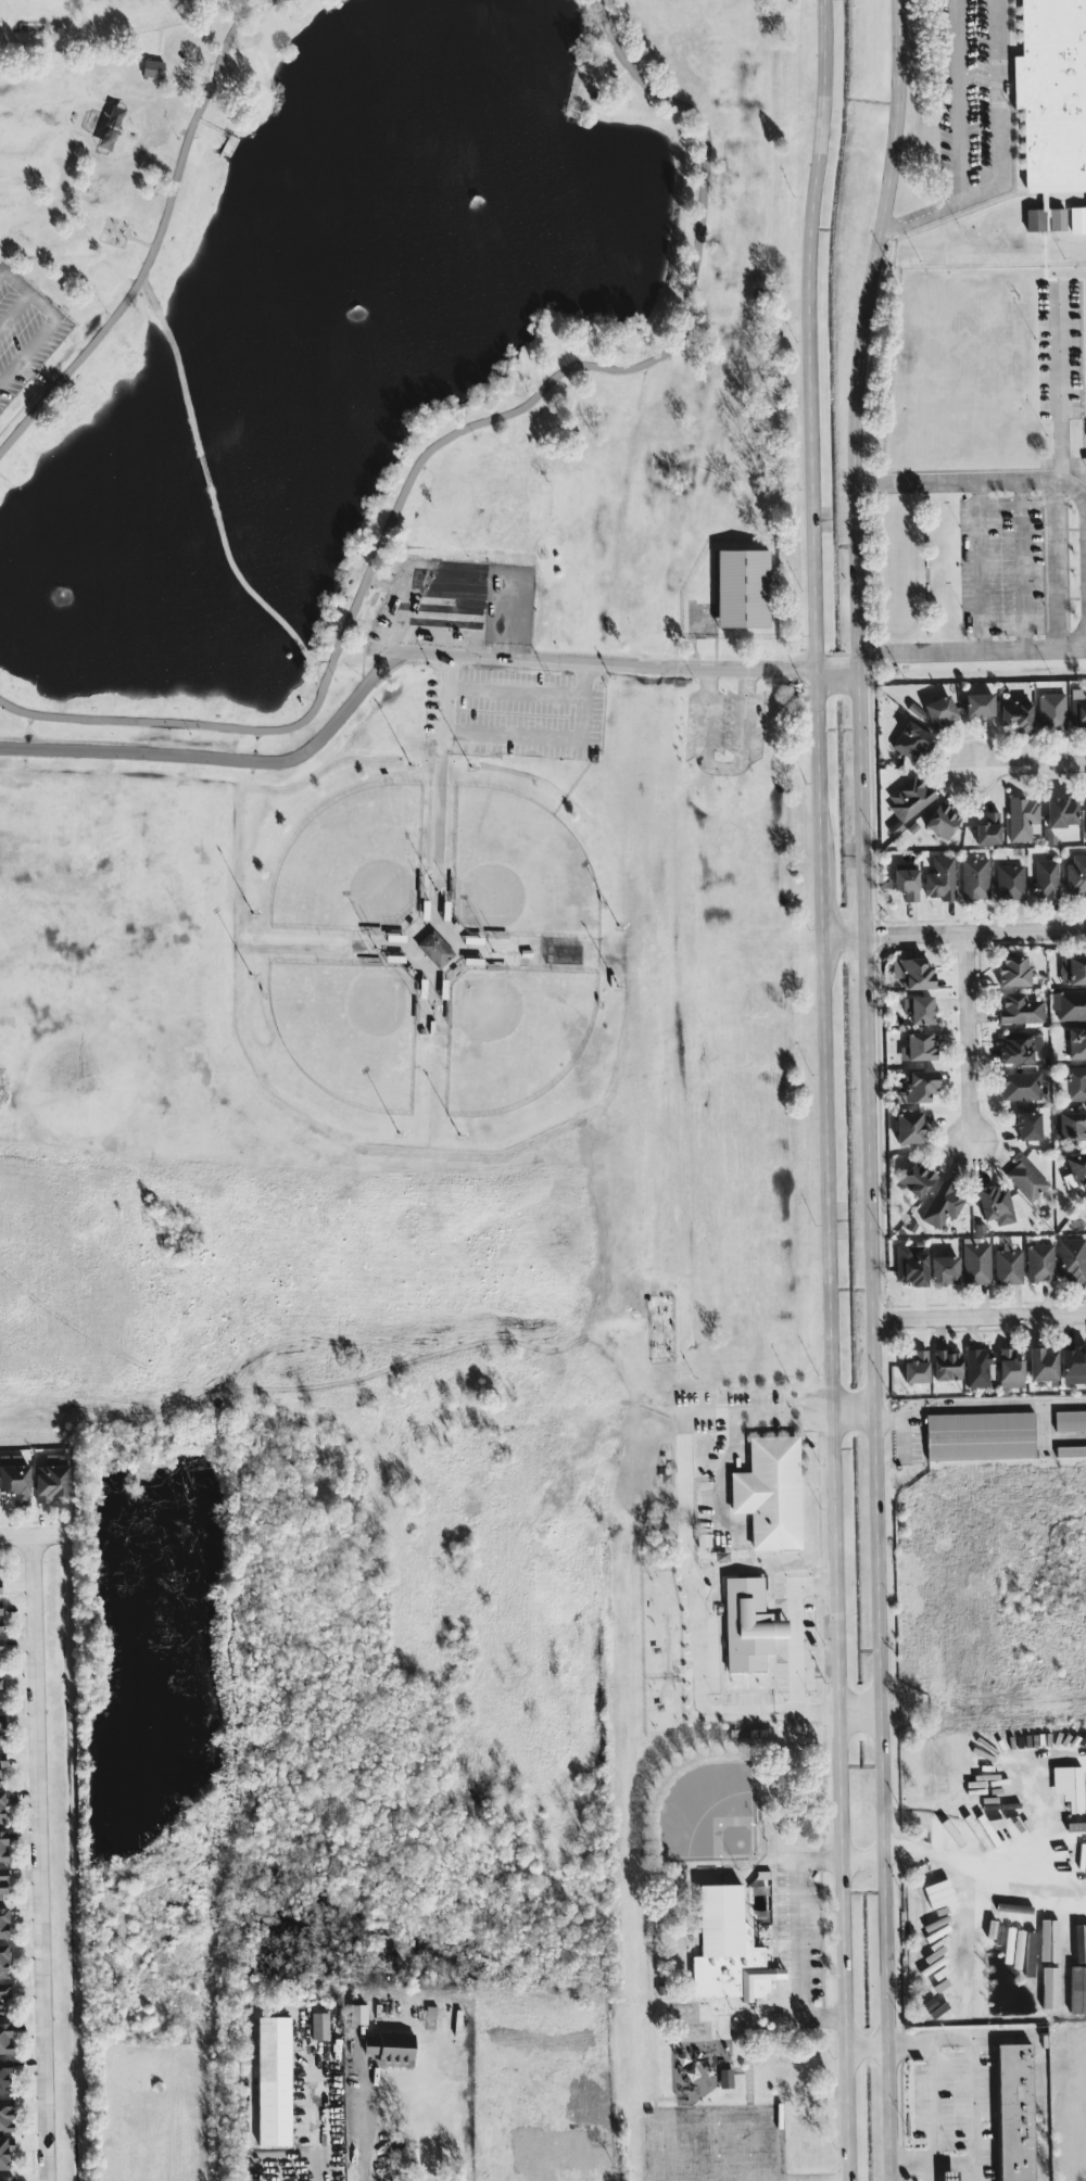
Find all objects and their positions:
road: (249, 4)
road: (207, 16)
road: (173, 50)
building: (152, 67)
road: (169, 72)
road: (190, 77)
building: (1052, 91)
road: (958, 100)
road: (210, 126)
road: (1001, 154)
building: (1057, 218)
building: (1035, 219)
road: (156, 233)
road: (139, 240)
road: (13, 279)
road: (149, 294)
road: (14, 309)
parking lot: (24, 331)
road: (40, 337)
parking lot: (1058, 347)
road: (1057, 378)
road: (42, 380)
road: (455, 431)
building: (1085, 460)
road: (1040, 479)
road: (915, 483)
road: (211, 499)
road: (1053, 563)
parking lot: (1011, 565)
road: (1020, 565)
road: (981, 566)
road: (468, 582)
road: (389, 586)
building: (743, 587)
road: (404, 616)
road: (439, 619)
road: (476, 620)
road: (513, 621)
road: (971, 651)
road: (602, 663)
road: (315, 673)
road: (835, 674)
road: (514, 690)
building: (978, 703)
building: (1077, 709)
building: (1051, 710)
building: (940, 711)
building: (1016, 714)
park: (395, 720)
road: (443, 720)
road: (548, 735)
building: (911, 740)
road: (218, 758)
road: (1031, 763)
road: (720, 765)
building: (909, 798)
building: (1061, 811)
building: (1022, 817)
building: (942, 821)
building: (988, 828)
park: (353, 862)
park: (518, 868)
building: (1076, 876)
building: (975, 877)
building: (940, 878)
building: (1046, 878)
building: (1010, 882)
building: (907, 883)
road: (954, 931)
building: (435, 948)
building: (1072, 969)
building: (1013, 971)
building: (912, 973)
building: (1069, 1004)
building: (919, 1009)
building: (1020, 1009)
park: (349, 1029)
park: (513, 1032)
road: (967, 1035)
building: (1077, 1042)
building: (1020, 1045)
building: (918, 1047)
building: (1075, 1082)
building: (920, 1085)
building: (1020, 1086)
road: (867, 1089)
road: (824, 1090)
building: (1030, 1125)
building: (1070, 1125)
building: (909, 1127)
building: (1075, 1169)
building: (1026, 1178)
building: (917, 1179)
building: (996, 1203)
building: (943, 1204)
building: (1072, 1259)
building: (976, 1261)
building: (1040, 1261)
building: (1008, 1265)
building: (911, 1266)
building: (945, 1269)
road: (978, 1315)
road: (372, 1340)
building: (1043, 1364)
building: (947, 1365)
building: (1073, 1365)
building: (917, 1367)
building: (978, 1367)
building: (1010, 1368)
road: (990, 1409)
road: (784, 1410)
road: (853, 1410)
building: (1070, 1420)
road: (901, 1425)
building: (981, 1435)
building: (1071, 1449)
road: (681, 1471)
building: (15, 1478)
building: (52, 1478)
building: (770, 1492)
road: (355, 1531)
road: (14, 1535)
building: (0, 1586)
building: (0, 1615)
building: (748, 1624)
road: (795, 1635)
building: (1, 1683)
road: (699, 1710)
building: (2, 1721)
building: (2, 1763)
building: (0, 1784)
building: (1069, 1786)
building: (984, 1790)
building: (2, 1804)
building: (1077, 1822)
road: (1045, 1826)
building: (3, 1847)
road: (36, 1857)
road: (787, 1860)
road: (862, 1860)
road: (982, 1881)
building: (2, 1884)
building: (3, 1922)
building: (1001, 1924)
building: (1022, 1931)
building: (1051, 1942)
building: (728, 1948)
building: (1085, 1949)
building: (3, 1960)
road: (805, 1960)
building: (1049, 1988)
building: (1074, 1990)
building: (4, 1992)
building: (357, 2013)
building: (319, 2025)
road: (931, 2036)
building: (5, 2038)
road: (867, 2046)
building: (392, 2049)
road: (1040, 2076)
building: (4, 2077)
building: (725, 2078)
building: (274, 2080)
road: (932, 2096)
road: (972, 2107)
building: (1015, 2112)
building: (5, 2114)
road: (203, 2117)
road: (316, 2123)
road: (364, 2129)
building: (5, 2151)
road: (923, 2157)
building: (948, 2176)
building: (7, 2178)
road: (763, 2179)

